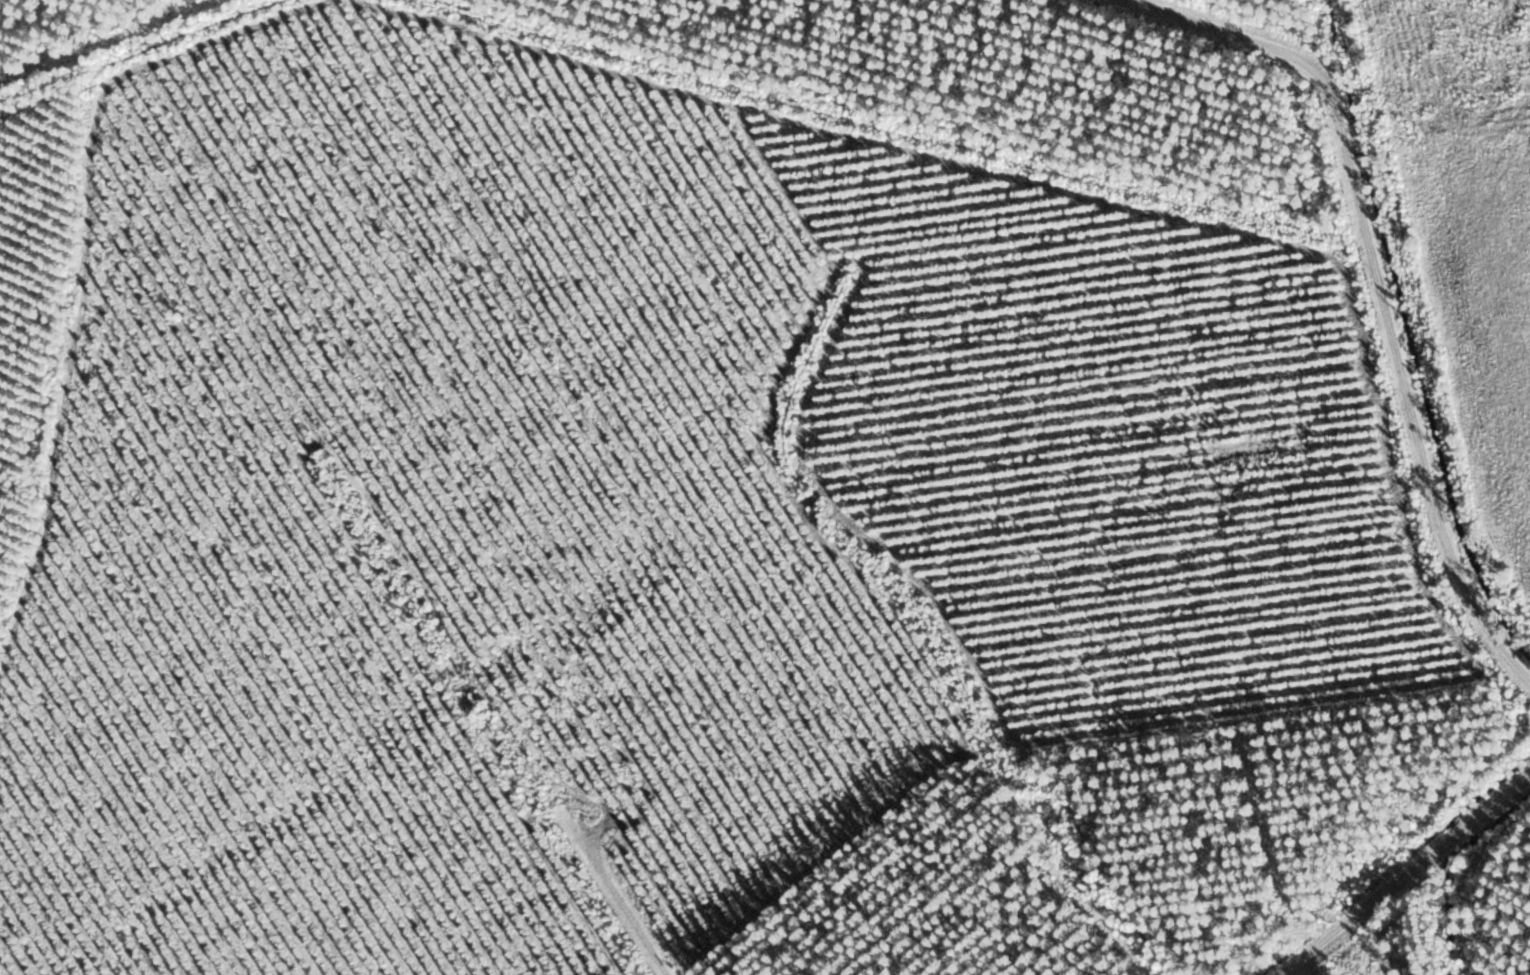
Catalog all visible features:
road: (1381, 288)
road: (1409, 874)

